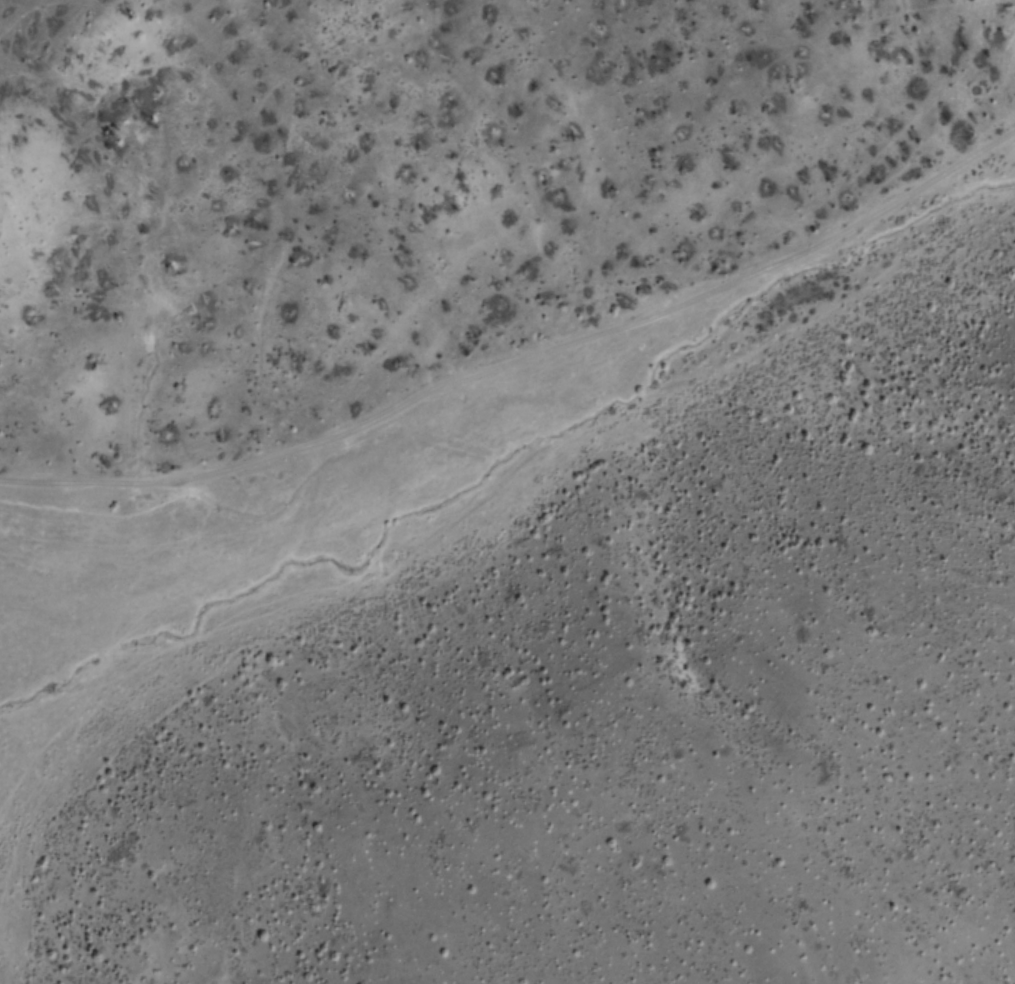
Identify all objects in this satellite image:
road: (520, 344)

